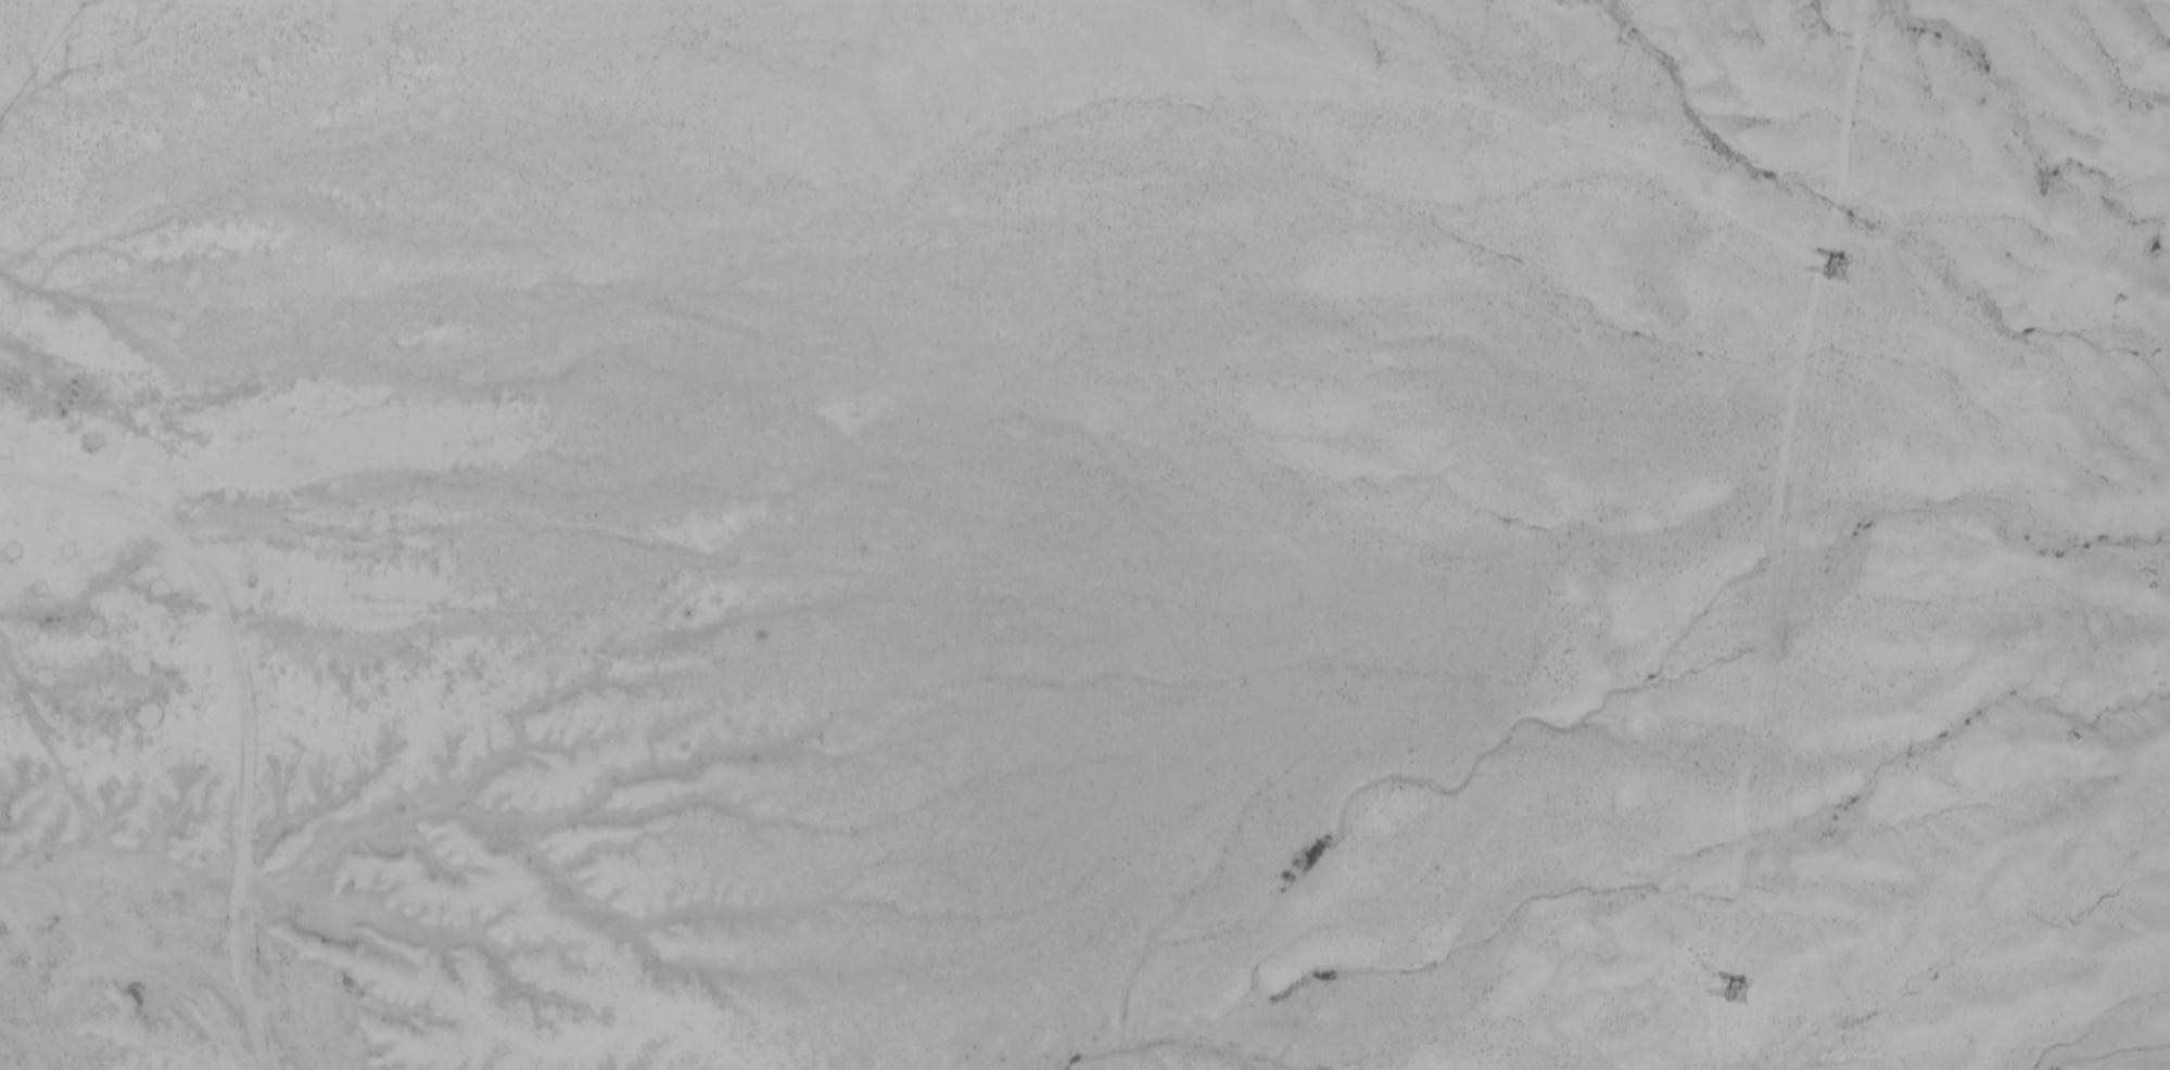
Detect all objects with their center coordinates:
power tower: (1845, 272)
road: (510, 630)
road: (246, 689)
power tower: (1733, 995)

